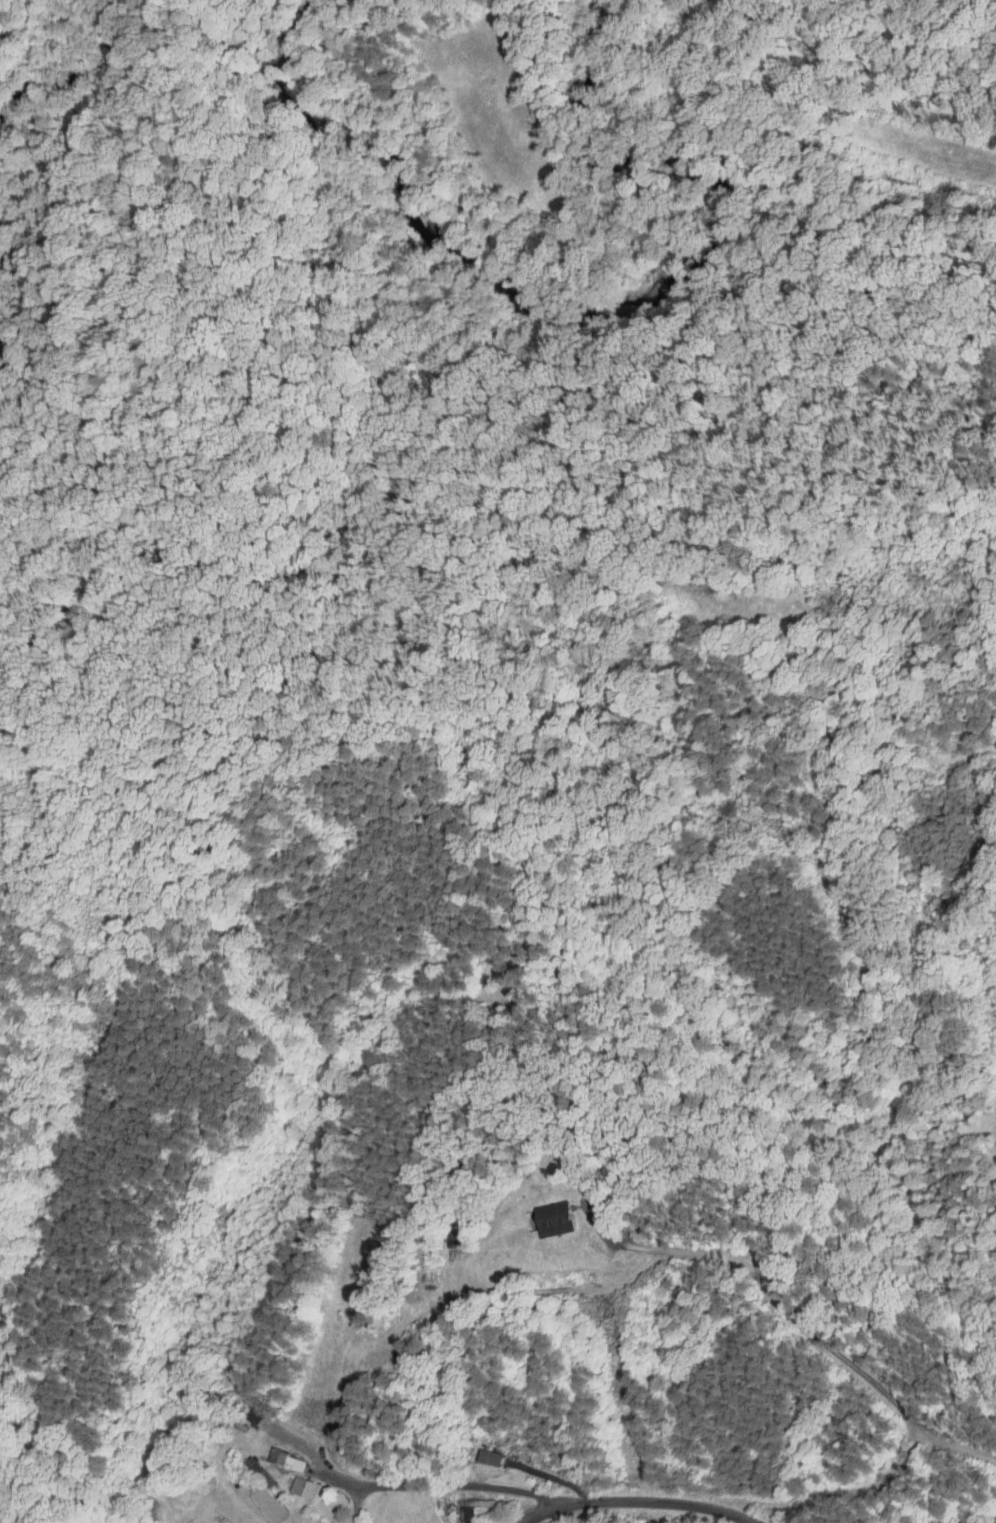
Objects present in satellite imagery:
building: (541, 1214)
building: (555, 1220)
building: (441, 1234)
road: (797, 1322)
building: (241, 1411)
building: (254, 1415)
building: (489, 1456)
building: (286, 1458)
building: (259, 1470)
road: (415, 1484)
building: (304, 1487)
road: (640, 1501)
building: (478, 1502)
building: (219, 1517)
building: (993, 1519)

